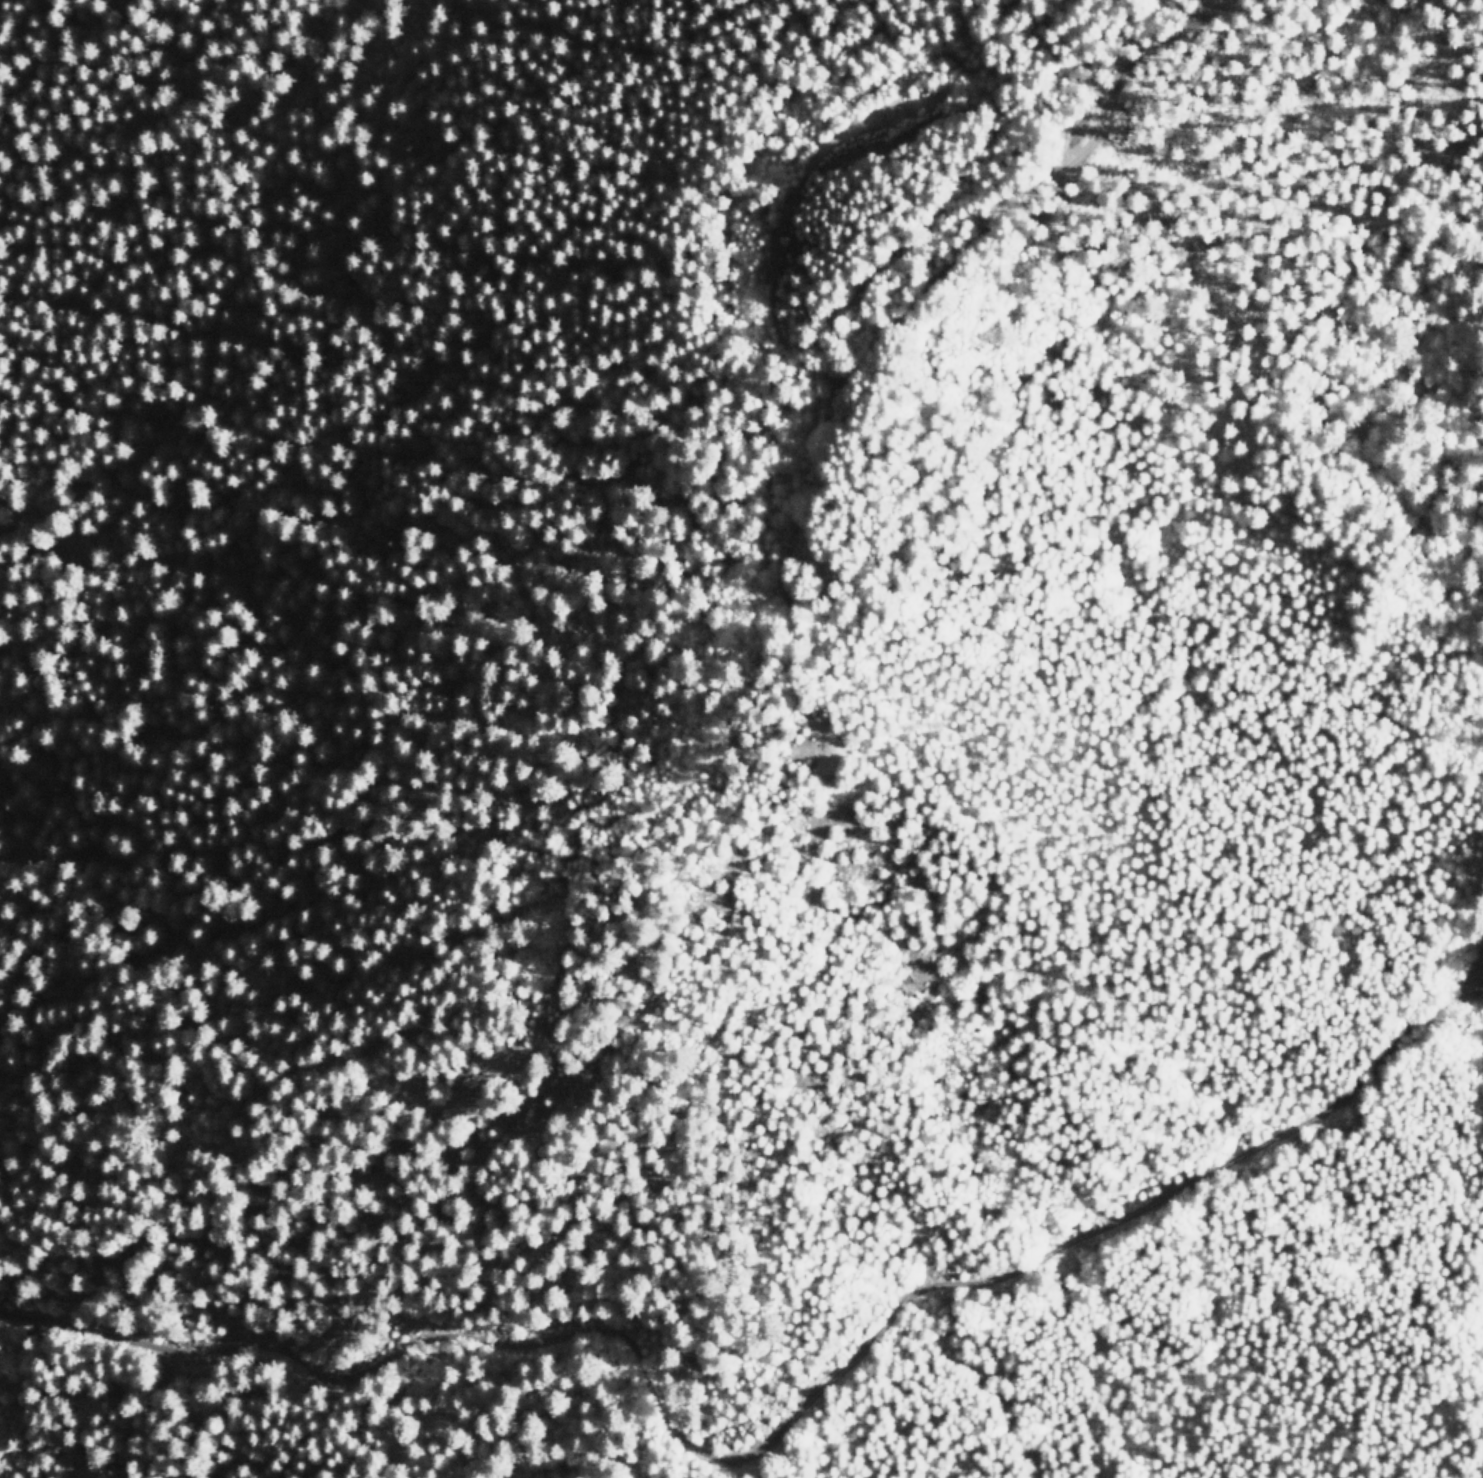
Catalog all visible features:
road: (1471, 979)

